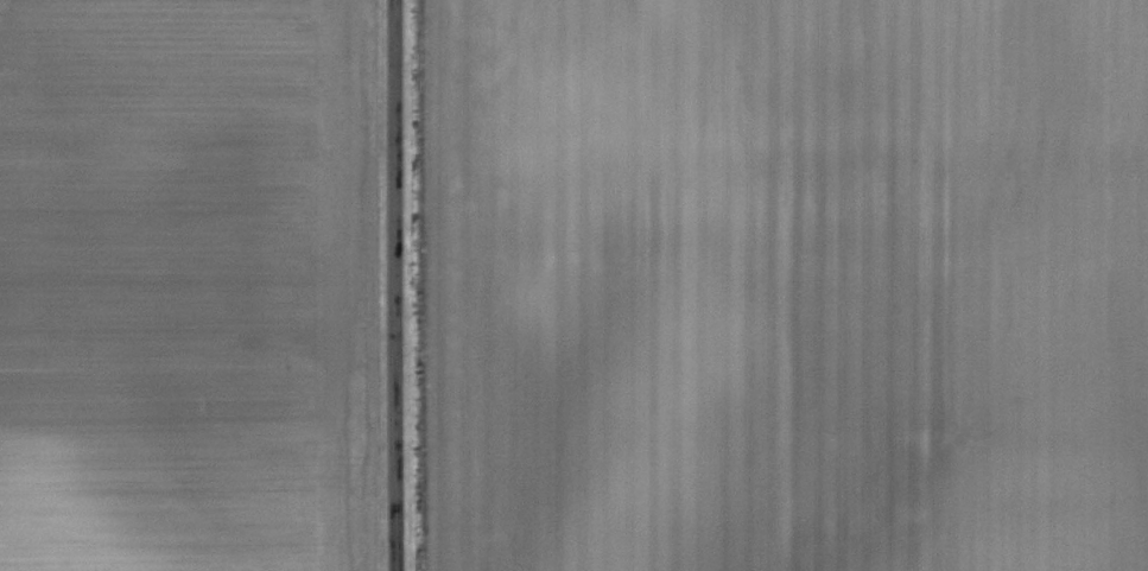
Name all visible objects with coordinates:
road: (392, 285)

